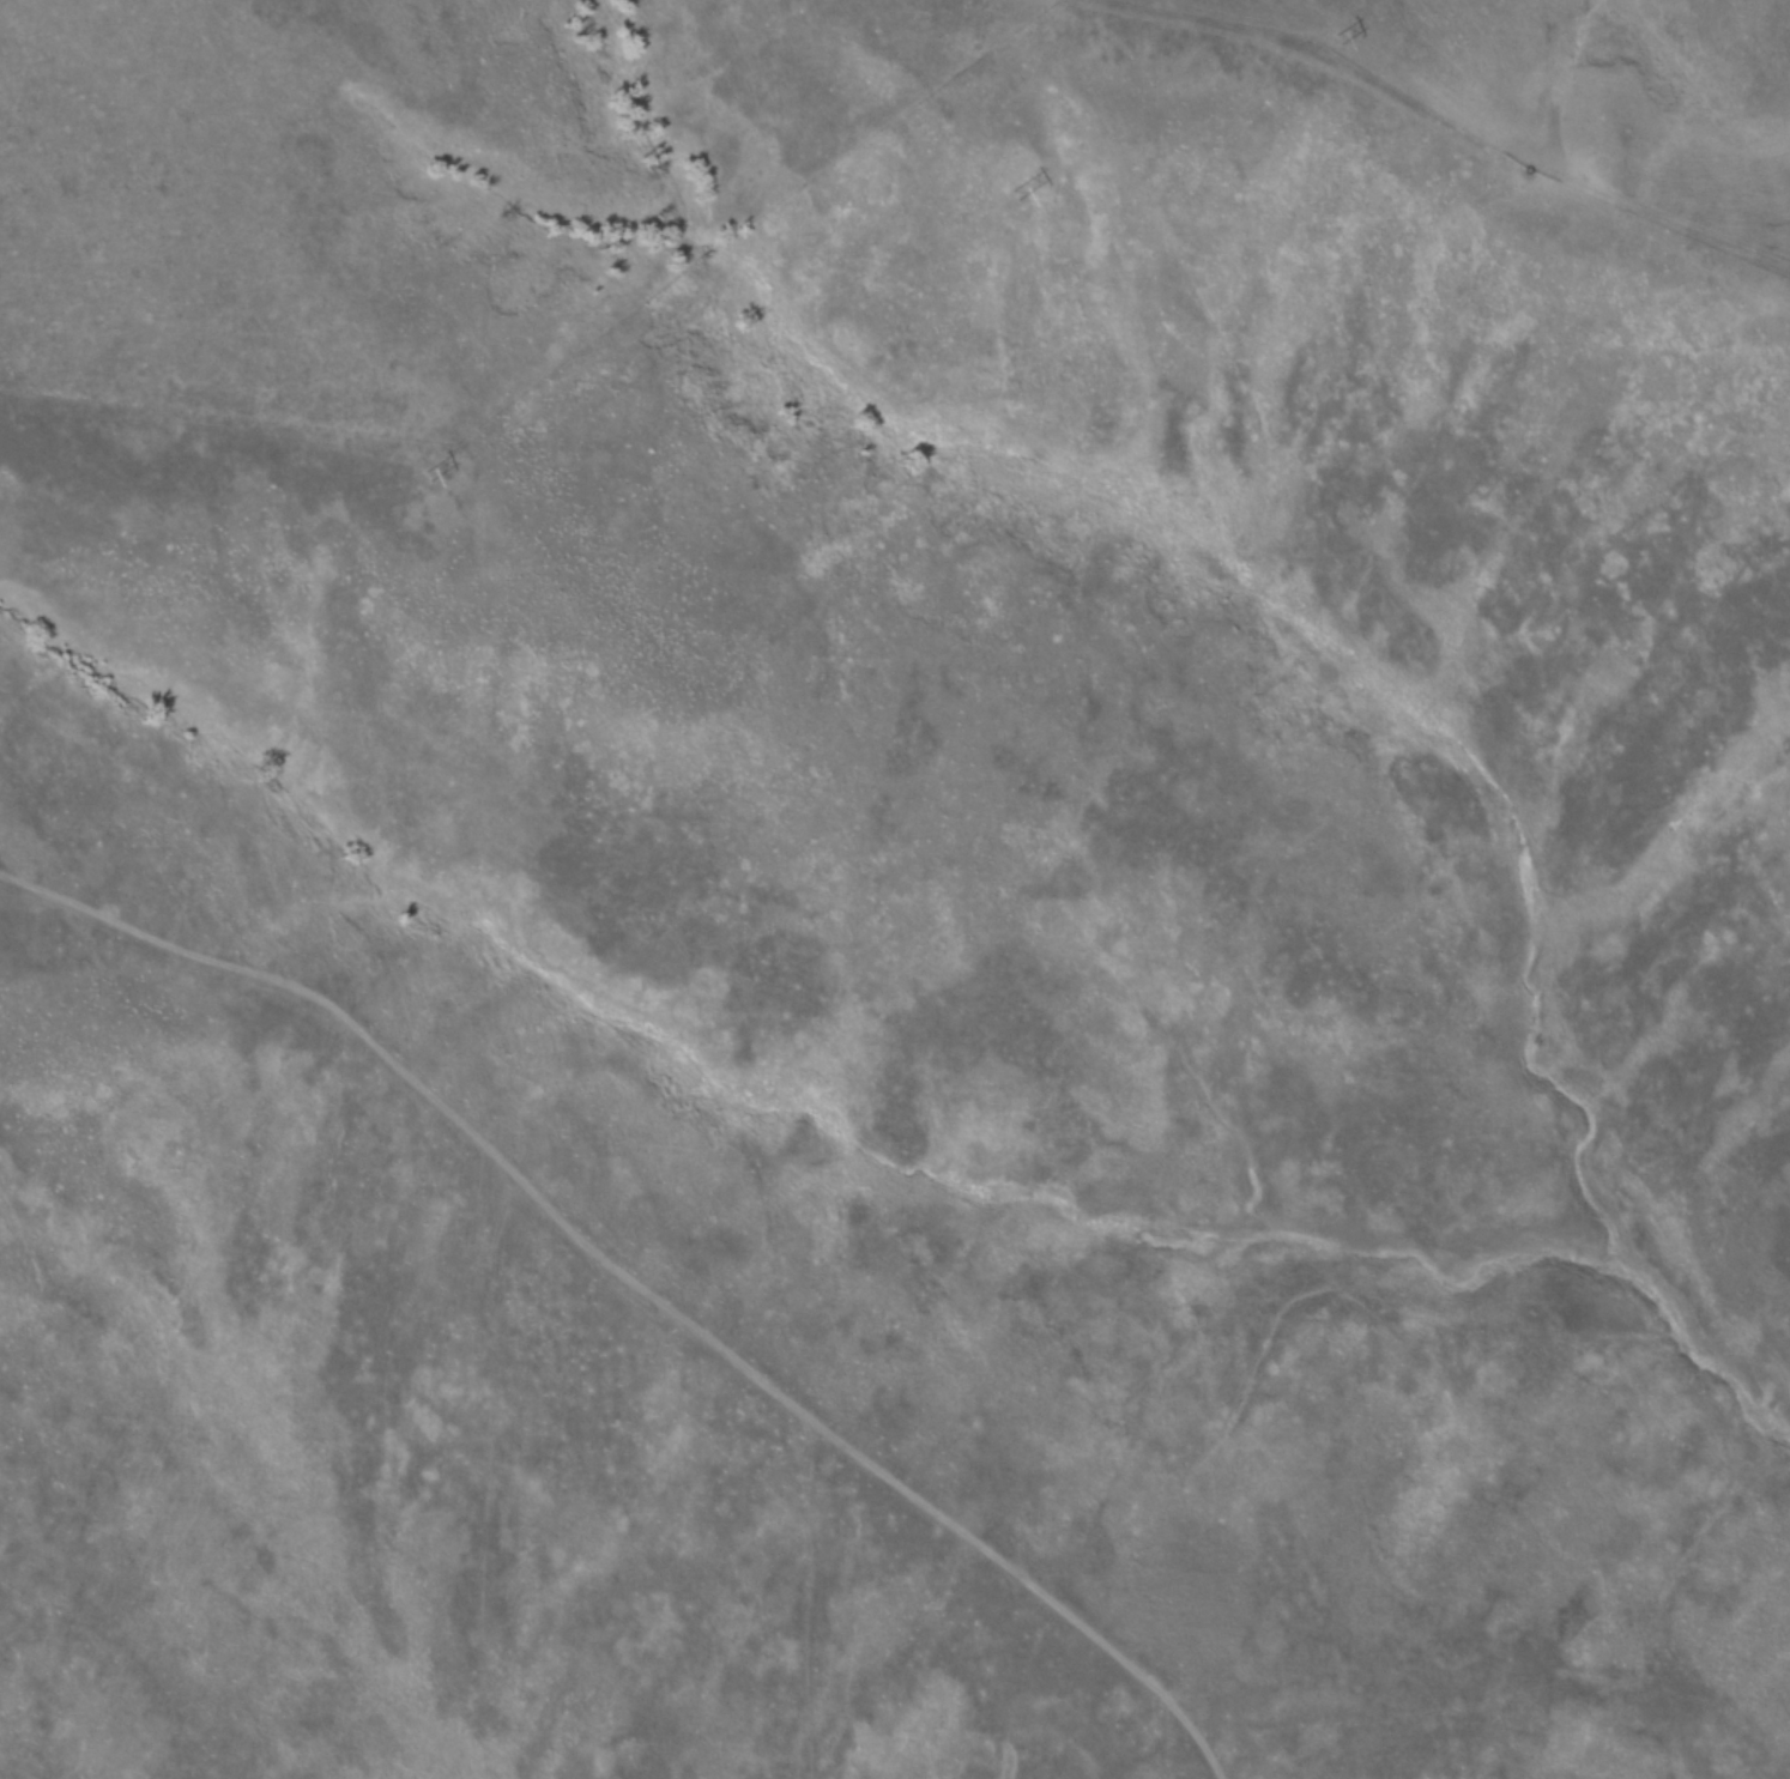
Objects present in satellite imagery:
power tower: (1341, 42)
power tower: (1020, 198)
power tower: (430, 478)

